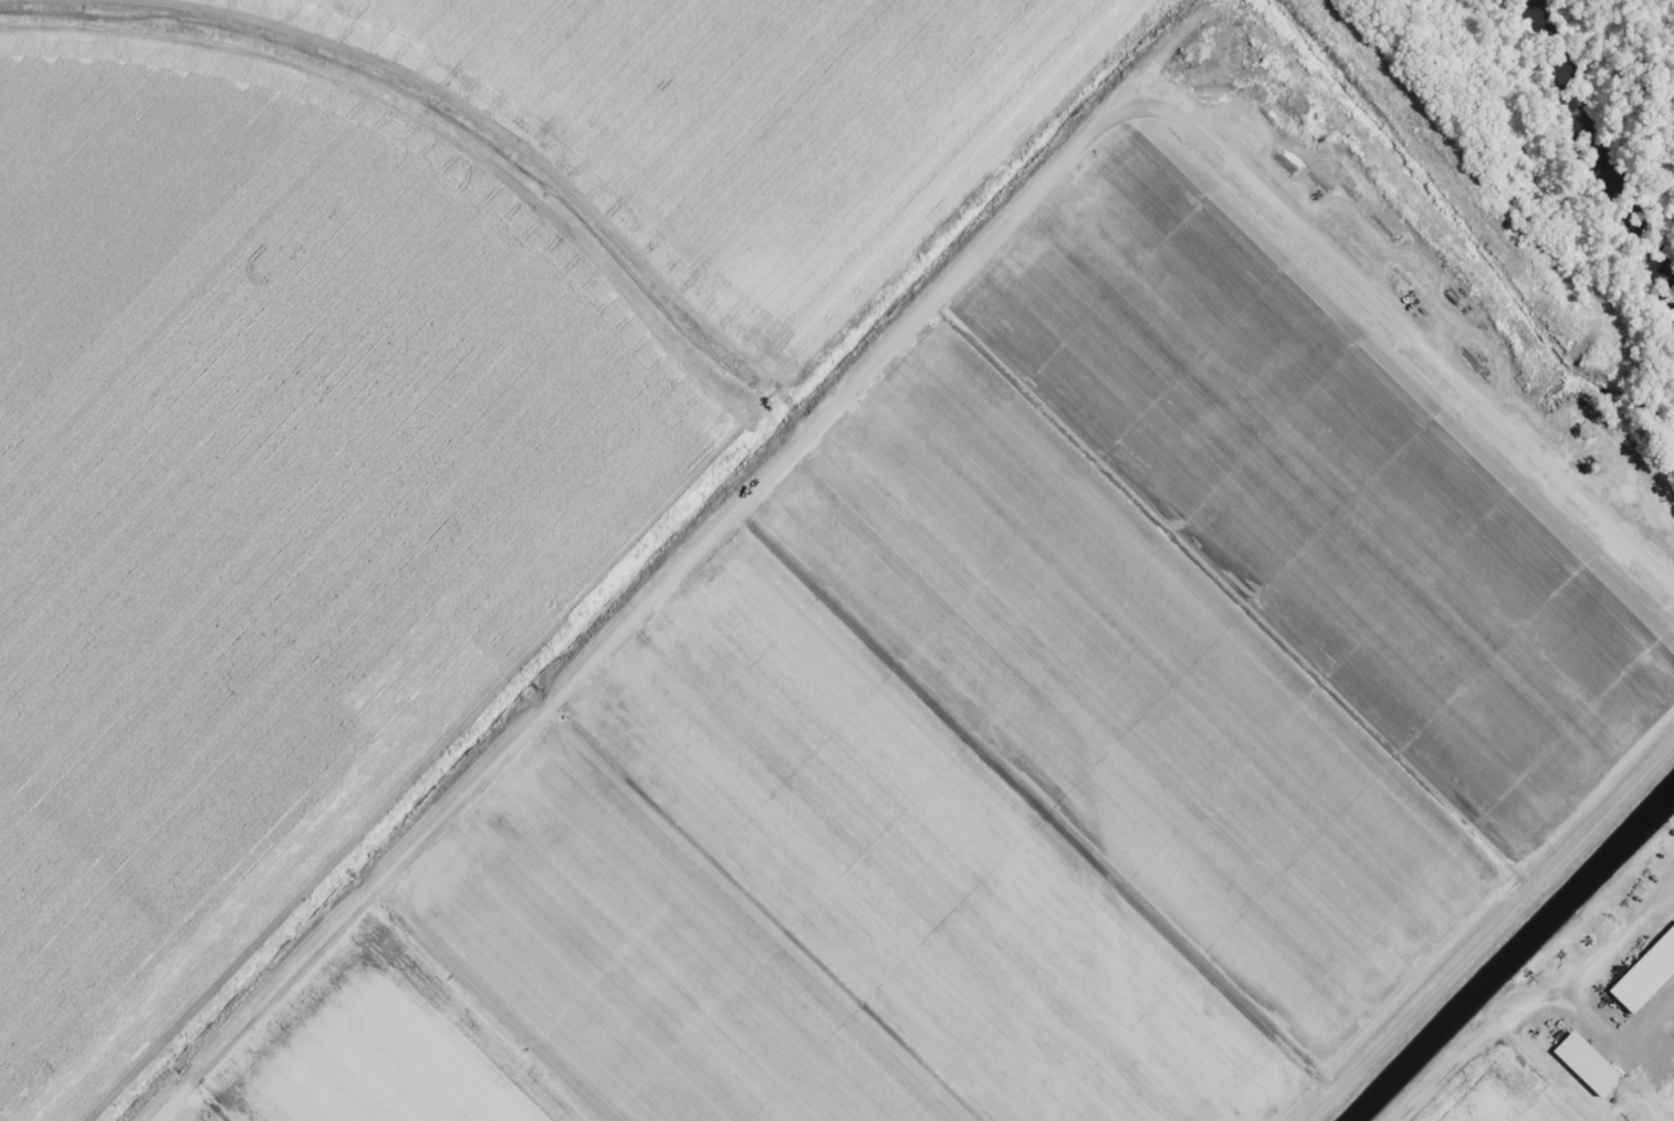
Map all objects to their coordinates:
building: (1593, 1065)

